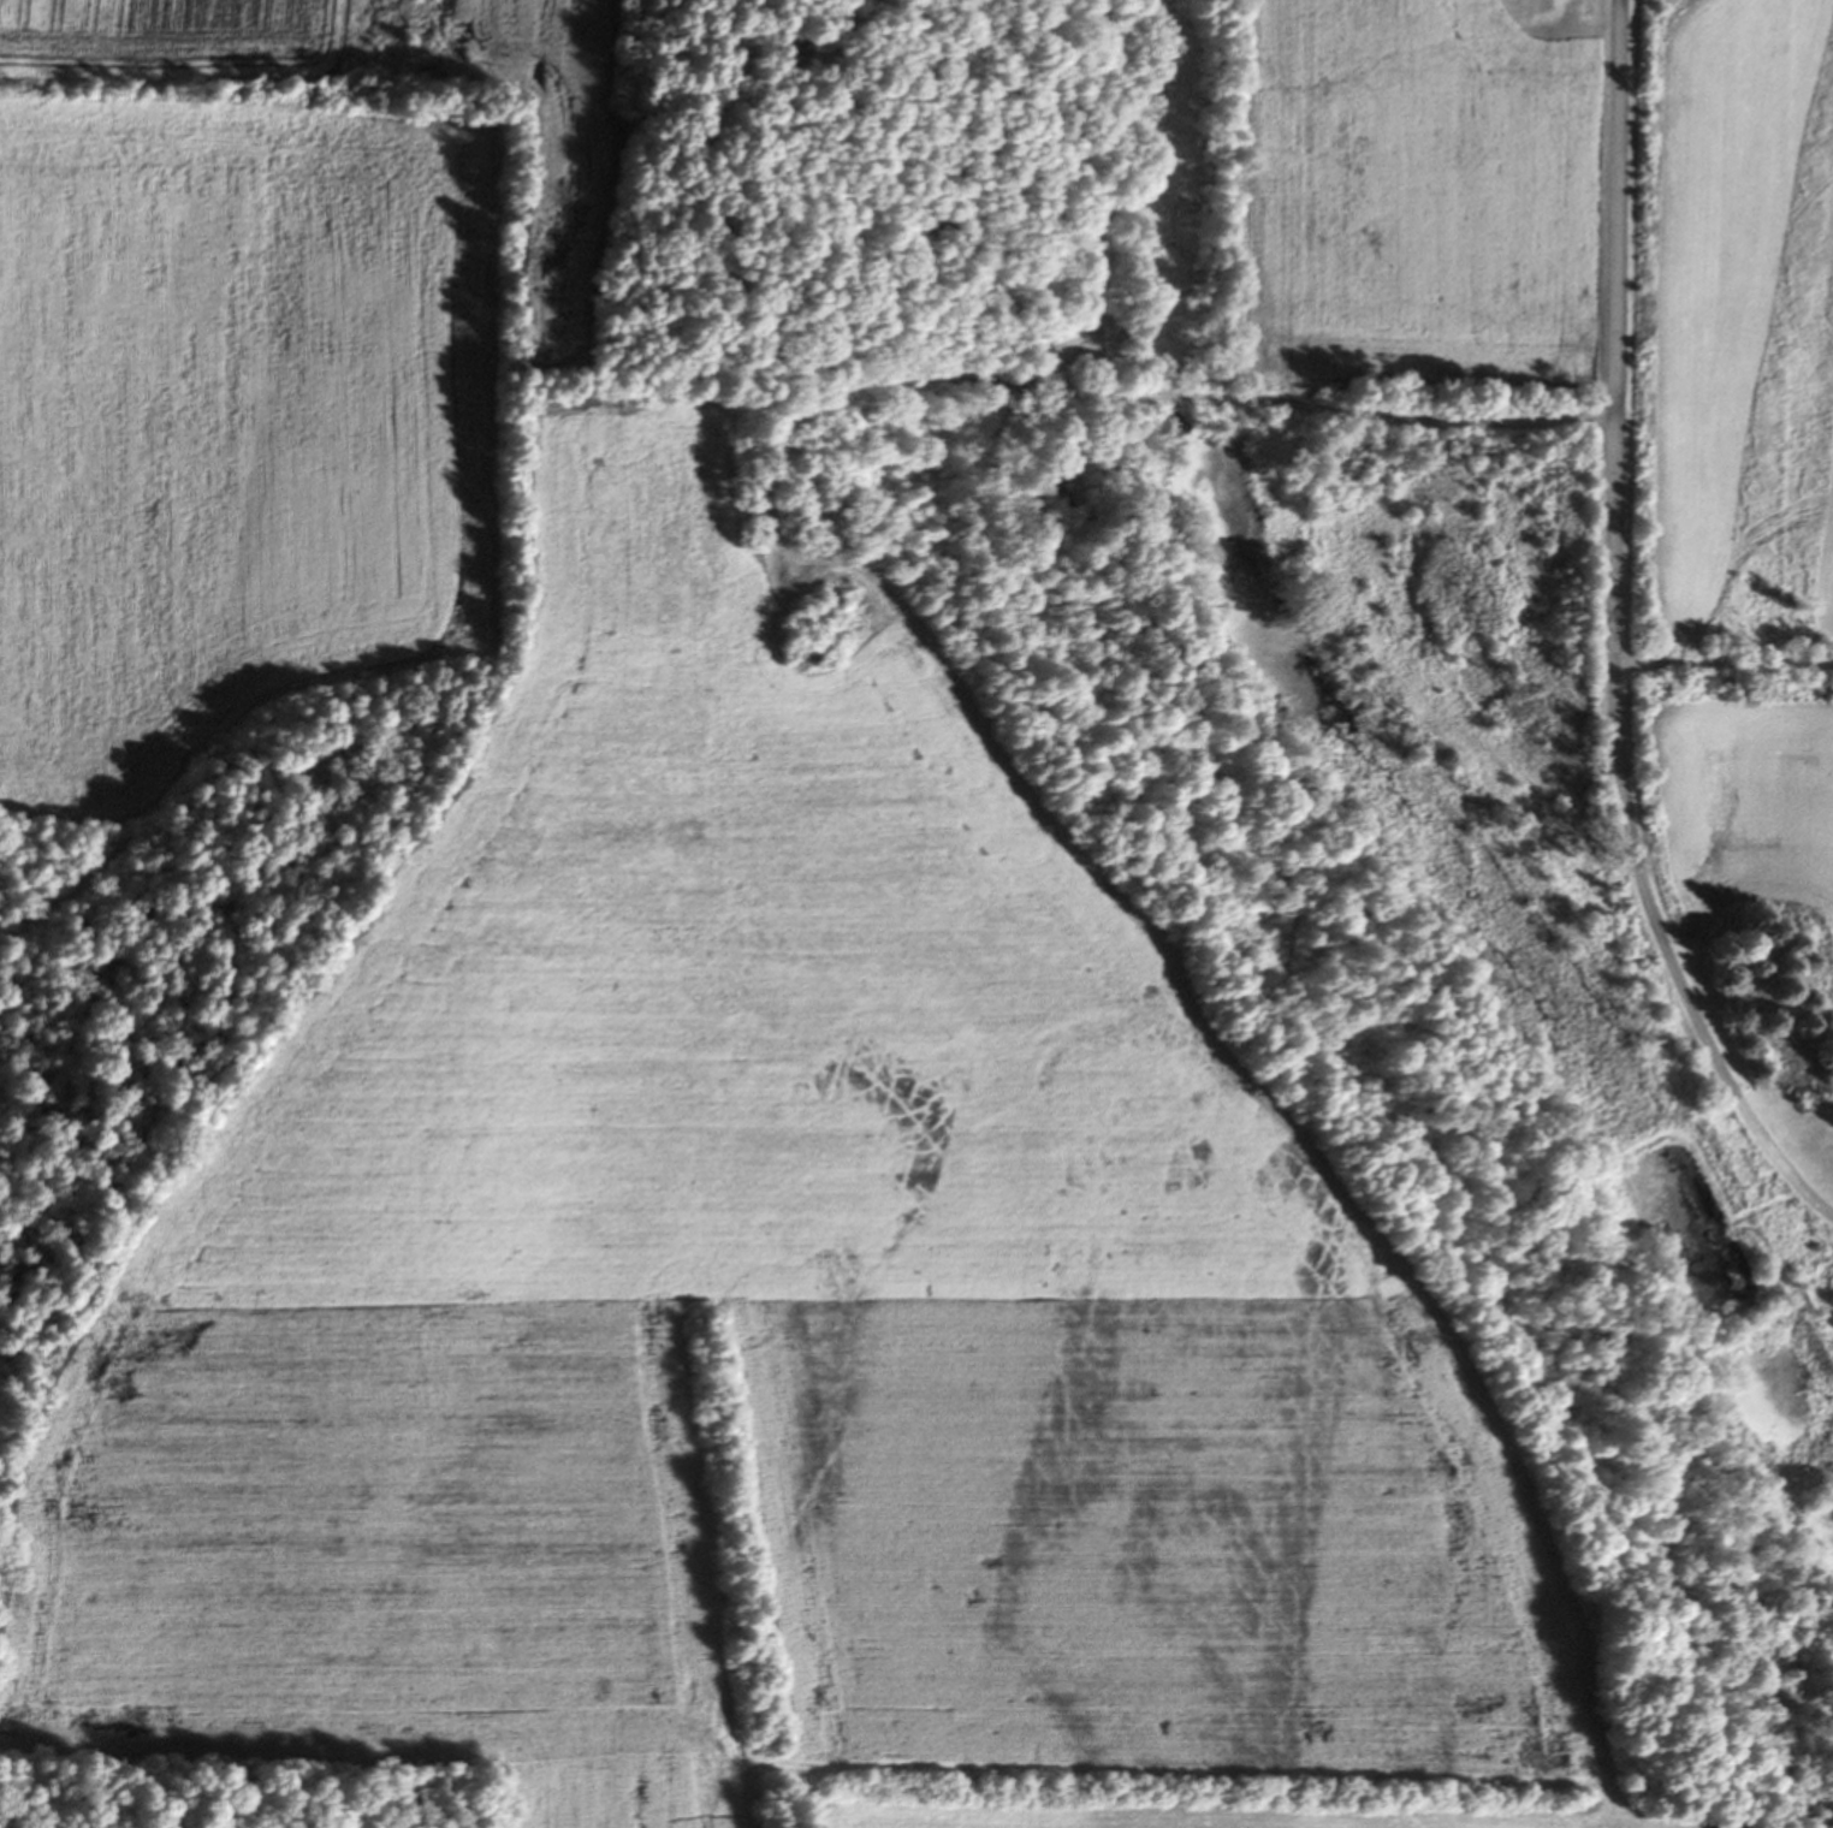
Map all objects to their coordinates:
road: (1619, 333)
road: (1672, 962)

